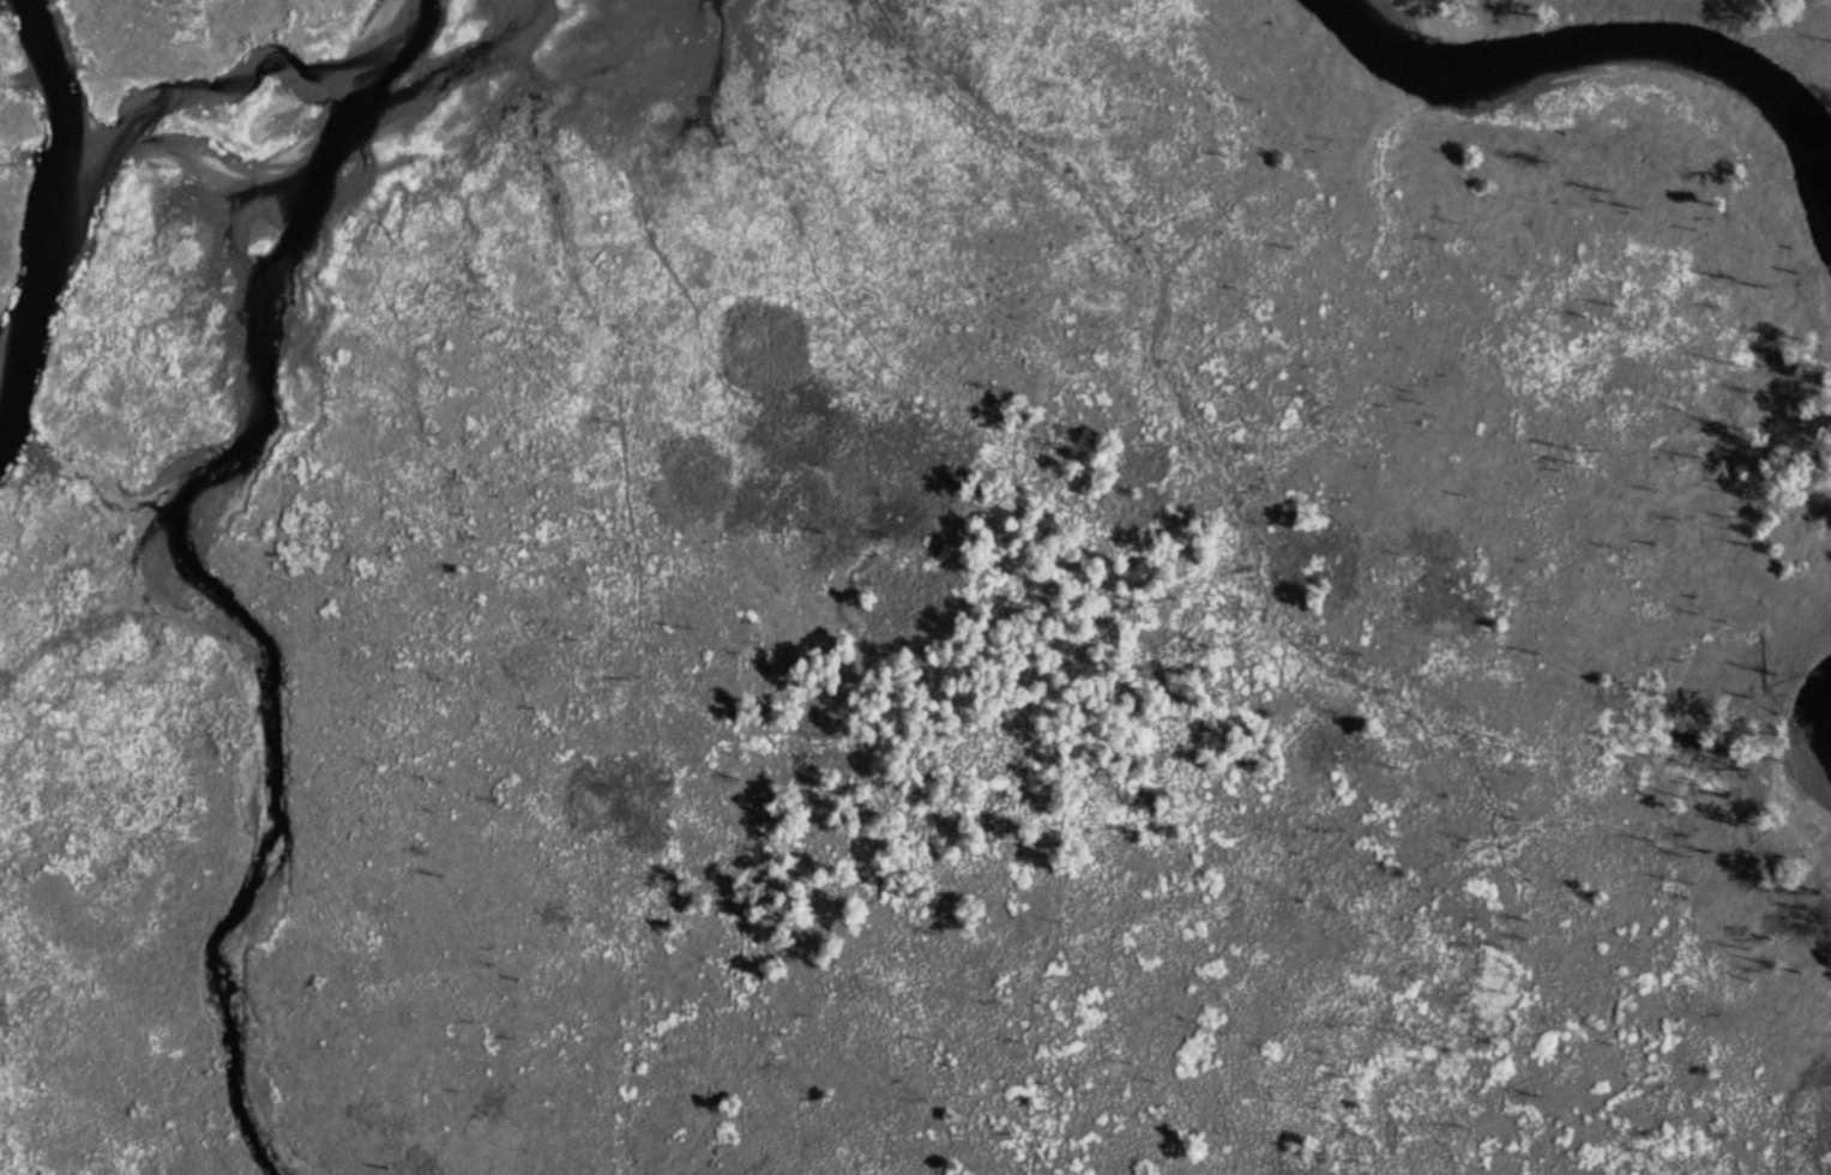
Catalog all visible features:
river: (61, 201)

